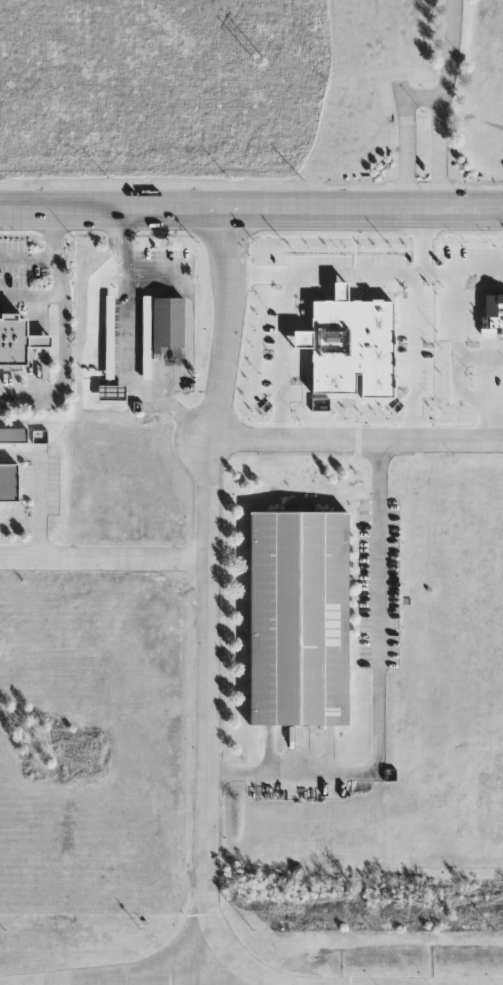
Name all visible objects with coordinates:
road: (449, 47)
road: (406, 135)
road: (438, 155)
road: (251, 211)
road: (29, 254)
road: (478, 262)
road: (349, 272)
road: (30, 298)
building: (163, 329)
road: (61, 332)
building: (18, 340)
building: (349, 344)
road: (111, 349)
road: (457, 350)
road: (281, 355)
road: (413, 355)
road: (480, 356)
road: (495, 396)
building: (14, 436)
road: (358, 438)
building: (9, 483)
road: (39, 487)
road: (106, 556)
road: (212, 594)
building: (299, 618)
road: (378, 685)
road: (136, 977)
road: (464, 983)

